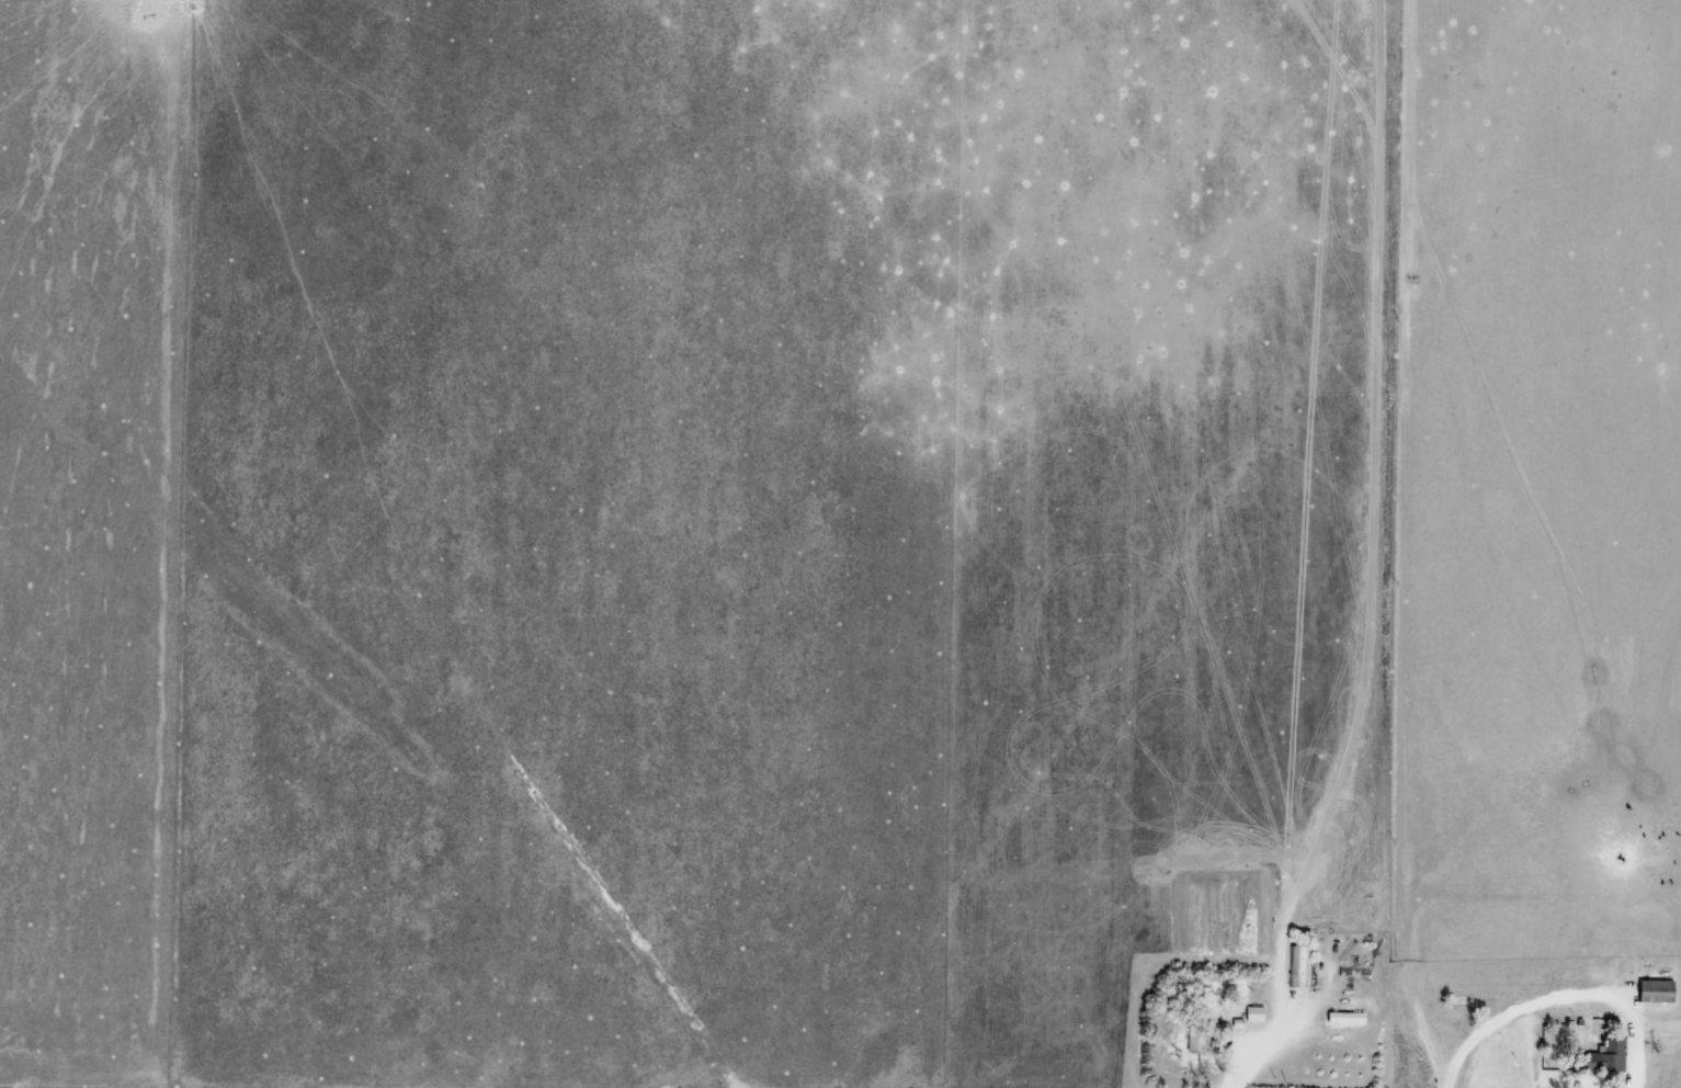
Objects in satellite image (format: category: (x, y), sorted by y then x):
building: (1303, 966)

